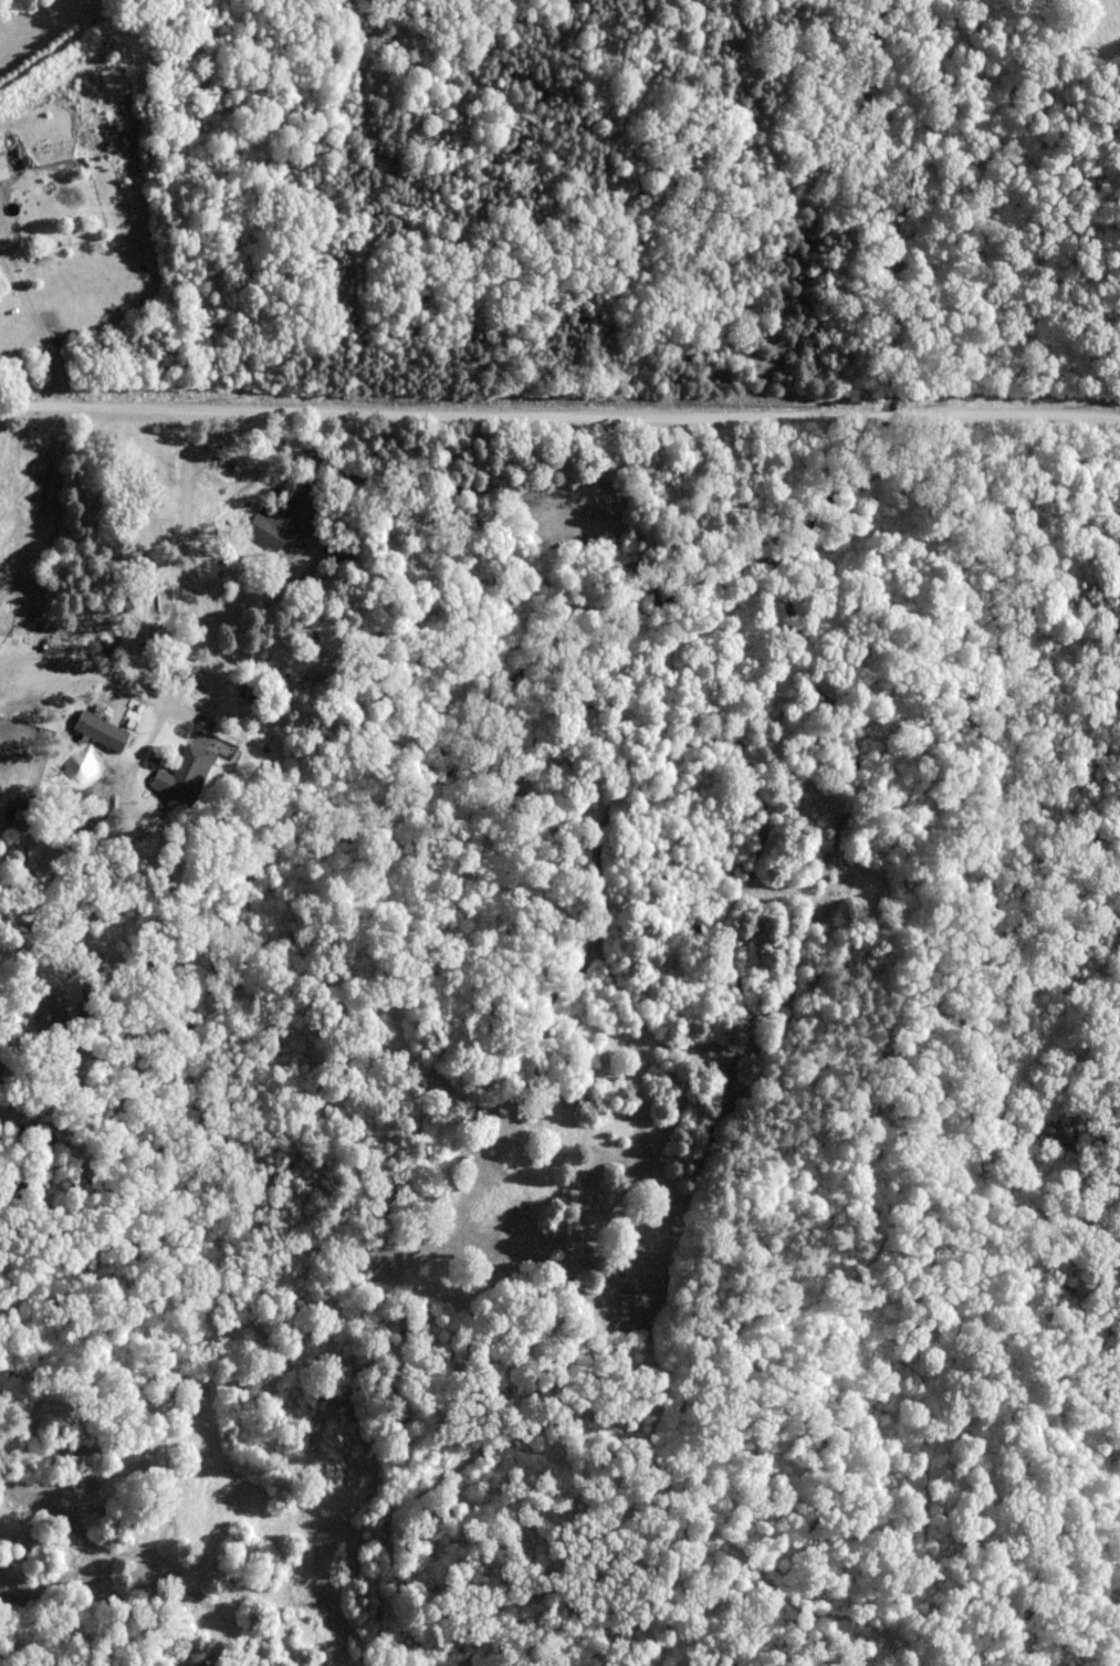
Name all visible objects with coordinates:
building: (2, 169)
road: (559, 415)
building: (289, 523)
building: (98, 732)
building: (181, 775)
building: (45, 1012)

